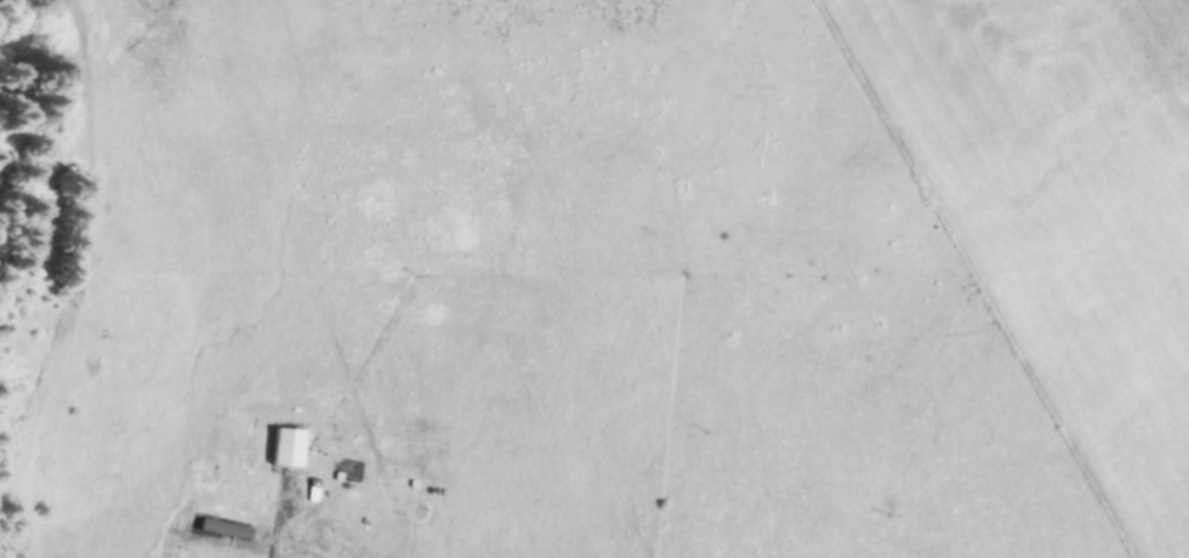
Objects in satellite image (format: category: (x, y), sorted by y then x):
building: (281, 449)
building: (218, 530)

